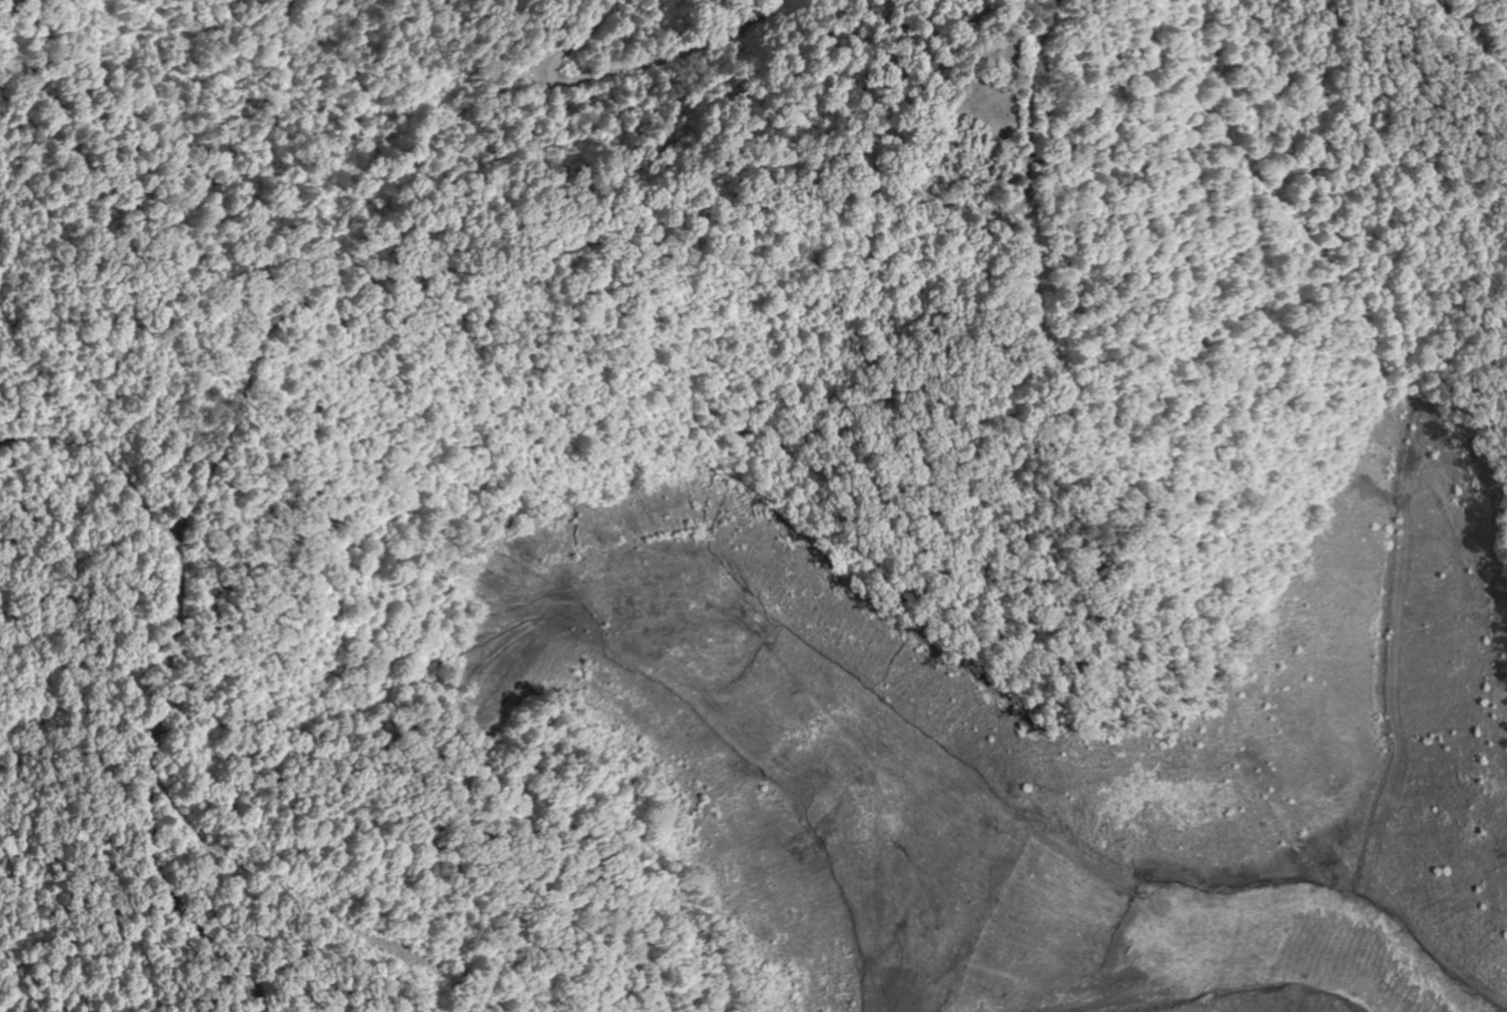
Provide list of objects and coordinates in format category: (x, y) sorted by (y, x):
road: (1365, 30)
road: (409, 289)

